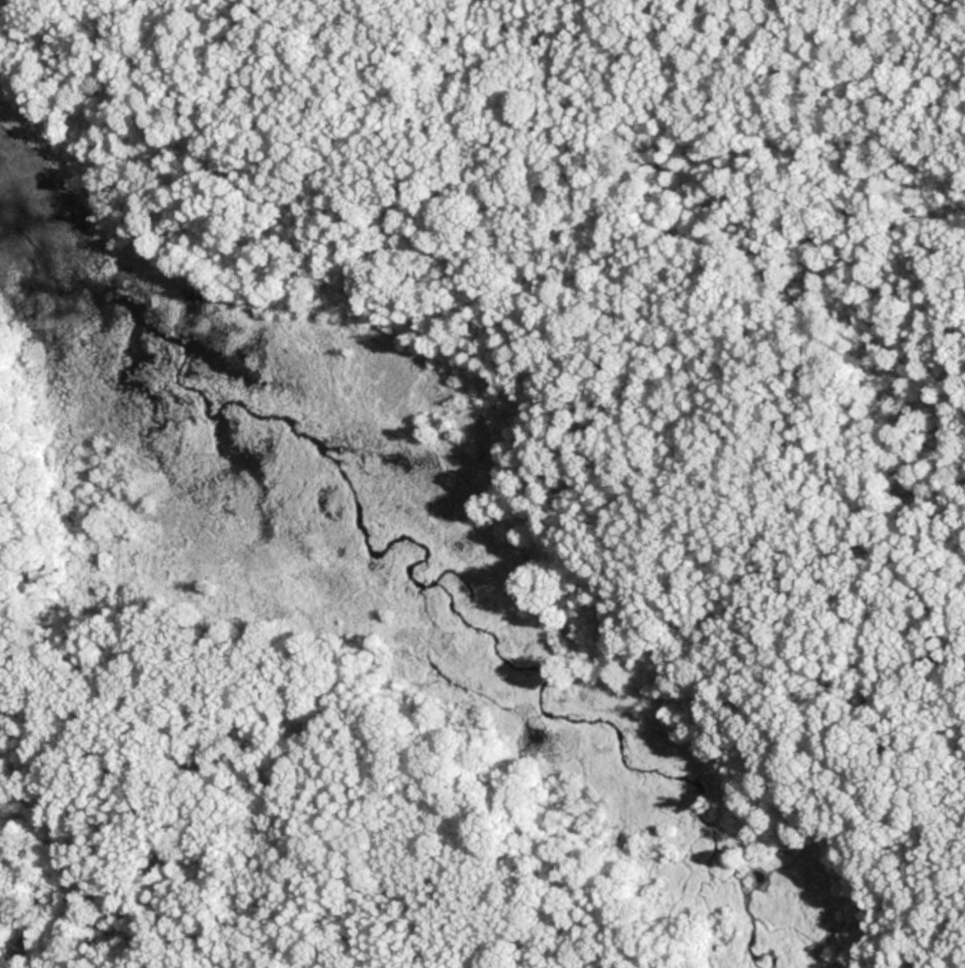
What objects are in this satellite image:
park: (482, 484)

